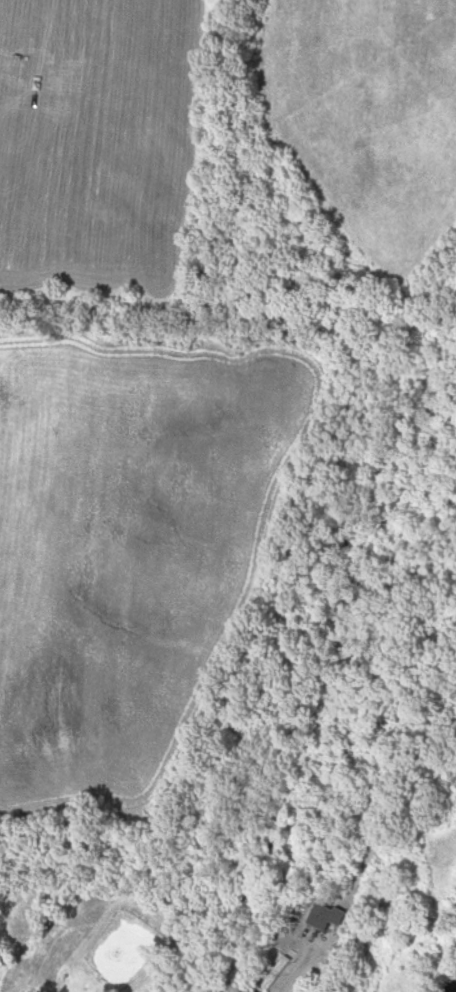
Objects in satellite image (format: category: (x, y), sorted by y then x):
building: (330, 917)
road: (301, 965)

